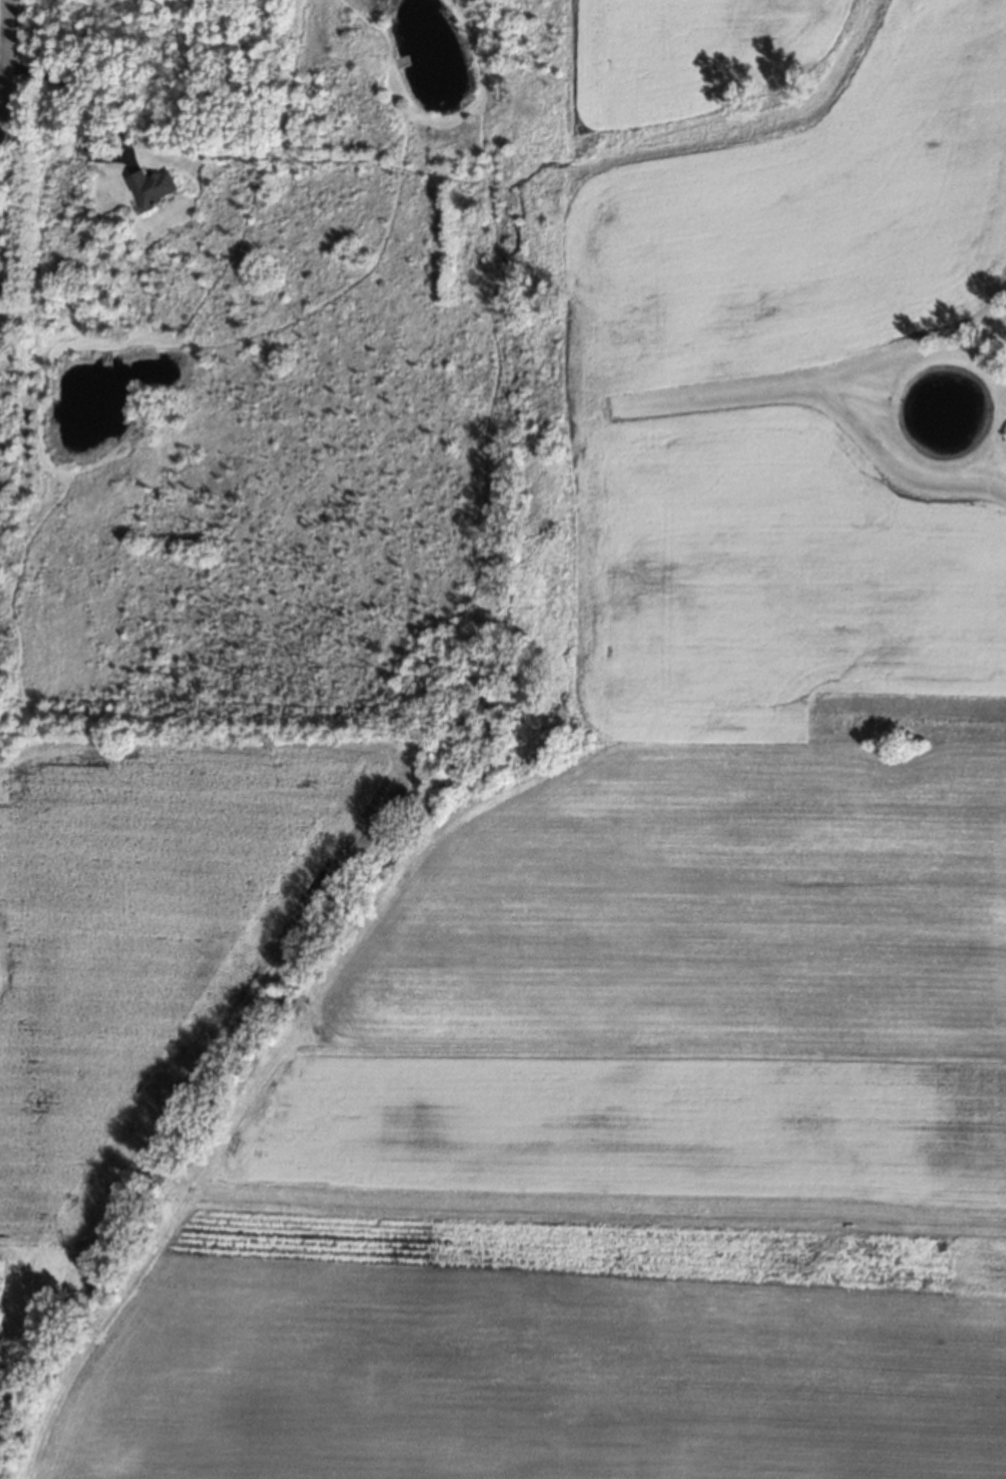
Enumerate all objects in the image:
road: (7, 65)
road: (86, 100)
building: (152, 188)
crop: (582, 899)

